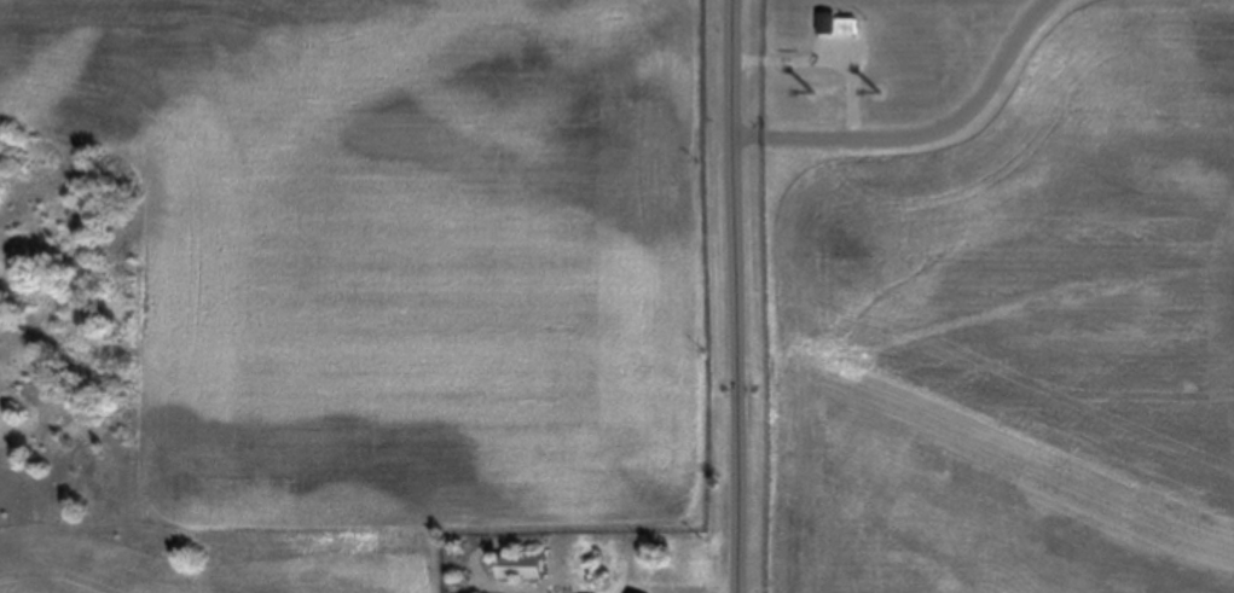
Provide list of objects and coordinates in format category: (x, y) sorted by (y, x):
building: (835, 23)
airport: (616, 290)
road: (732, 296)
building: (525, 565)

